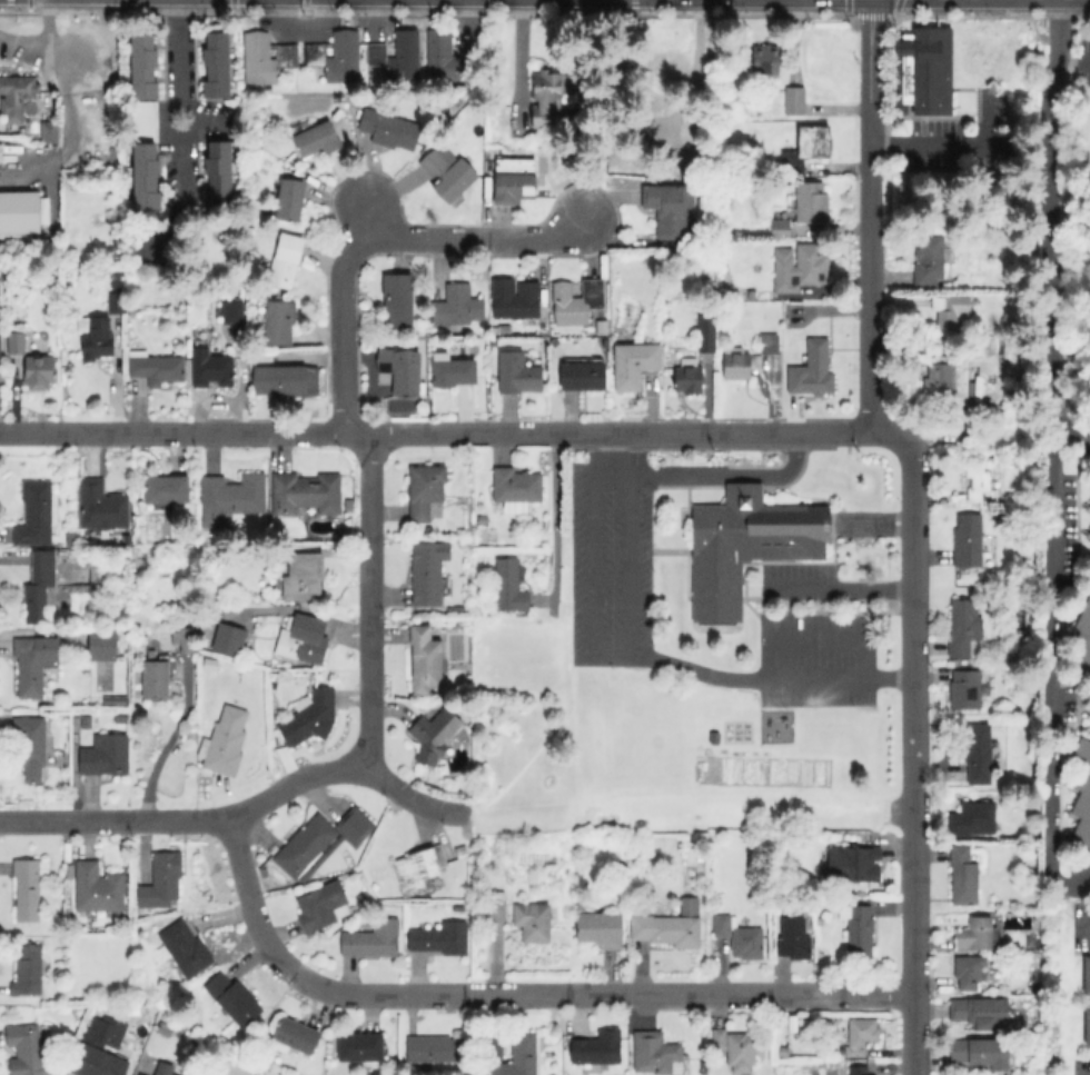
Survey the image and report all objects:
road: (631, 6)
road: (739, 13)
road: (869, 16)
building: (448, 54)
building: (336, 56)
building: (397, 56)
building: (266, 58)
building: (765, 59)
road: (1084, 60)
building: (216, 64)
building: (142, 66)
building: (924, 71)
road: (870, 79)
building: (660, 83)
building: (548, 93)
building: (16, 96)
road: (181, 97)
building: (794, 100)
building: (387, 128)
building: (47, 130)
building: (316, 138)
building: (532, 139)
road: (938, 141)
building: (806, 147)
building: (701, 160)
building: (920, 171)
building: (216, 173)
building: (447, 173)
building: (143, 176)
building: (512, 185)
building: (289, 199)
building: (810, 201)
building: (666, 208)
building: (21, 210)
road: (1051, 213)
road: (367, 220)
building: (780, 222)
road: (479, 239)
building: (285, 260)
building: (928, 260)
building: (800, 266)
road: (870, 296)
building: (514, 298)
building: (397, 299)
building: (576, 301)
building: (116, 305)
building: (456, 306)
building: (949, 309)
building: (229, 311)
building: (279, 321)
building: (602, 326)
road: (338, 327)
building: (542, 332)
building: (706, 332)
building: (93, 336)
building: (14, 342)
building: (767, 342)
building: (979, 345)
building: (739, 362)
building: (634, 364)
building: (155, 367)
building: (207, 367)
building: (400, 369)
building: (812, 369)
building: (450, 370)
building: (38, 371)
building: (517, 372)
building: (583, 374)
building: (687, 376)
building: (289, 381)
building: (939, 381)
road: (307, 432)
road: (754, 434)
road: (702, 476)
building: (980, 479)
building: (515, 487)
building: (166, 488)
building: (425, 491)
building: (305, 492)
building: (231, 495)
building: (101, 505)
building: (1089, 506)
building: (36, 512)
building: (484, 518)
building: (1089, 534)
building: (71, 536)
building: (967, 539)
building: (745, 545)
rooftop solar panel: (764, 545)
rooftop solar panel: (773, 545)
rooftop solar panel: (785, 546)
building: (1089, 560)
building: (432, 574)
building: (303, 576)
building: (508, 585)
building: (39, 586)
road: (845, 588)
road: (371, 603)
building: (458, 610)
building: (964, 628)
building: (1030, 631)
road: (813, 637)
building: (229, 638)
building: (305, 638)
building: (186, 640)
building: (1082, 643)
building: (102, 645)
road: (1052, 651)
building: (424, 659)
building: (33, 663)
road: (682, 668)
building: (156, 678)
building: (1066, 679)
building: (967, 685)
building: (113, 699)
building: (1089, 713)
building: (120, 716)
building: (310, 716)
building: (85, 724)
building: (434, 734)
building: (224, 740)
road: (166, 743)
building: (32, 746)
road: (913, 750)
building: (975, 753)
building: (103, 754)
rooftop solar panel: (57, 758)
building: (1082, 792)
road: (239, 812)
building: (972, 819)
building: (320, 840)
building: (459, 850)
building: (702, 858)
building: (853, 866)
building: (415, 869)
building: (963, 876)
building: (160, 880)
building: (28, 886)
building: (99, 888)
building: (829, 892)
building: (366, 899)
building: (319, 905)
building: (495, 909)
building: (532, 920)
building: (668, 925)
road: (1081, 926)
building: (599, 928)
building: (859, 929)
building: (974, 934)
building: (739, 936)
building: (373, 938)
building: (439, 938)
building: (792, 938)
building: (185, 948)
building: (27, 971)
building: (968, 972)
building: (1089, 977)
building: (1038, 991)
road: (514, 994)
building: (232, 998)
building: (151, 1011)
building: (981, 1012)
building: (1086, 1026)
building: (165, 1028)
building: (860, 1035)
building: (293, 1036)
building: (598, 1046)
building: (733, 1046)
building: (359, 1047)
building: (435, 1048)
building: (783, 1049)
building: (26, 1051)
building: (980, 1052)
building: (655, 1054)
building: (516, 1057)
building: (96, 1058)
building: (704, 1067)
building: (163, 1068)
building: (858, 1071)
building: (140, 1074)

